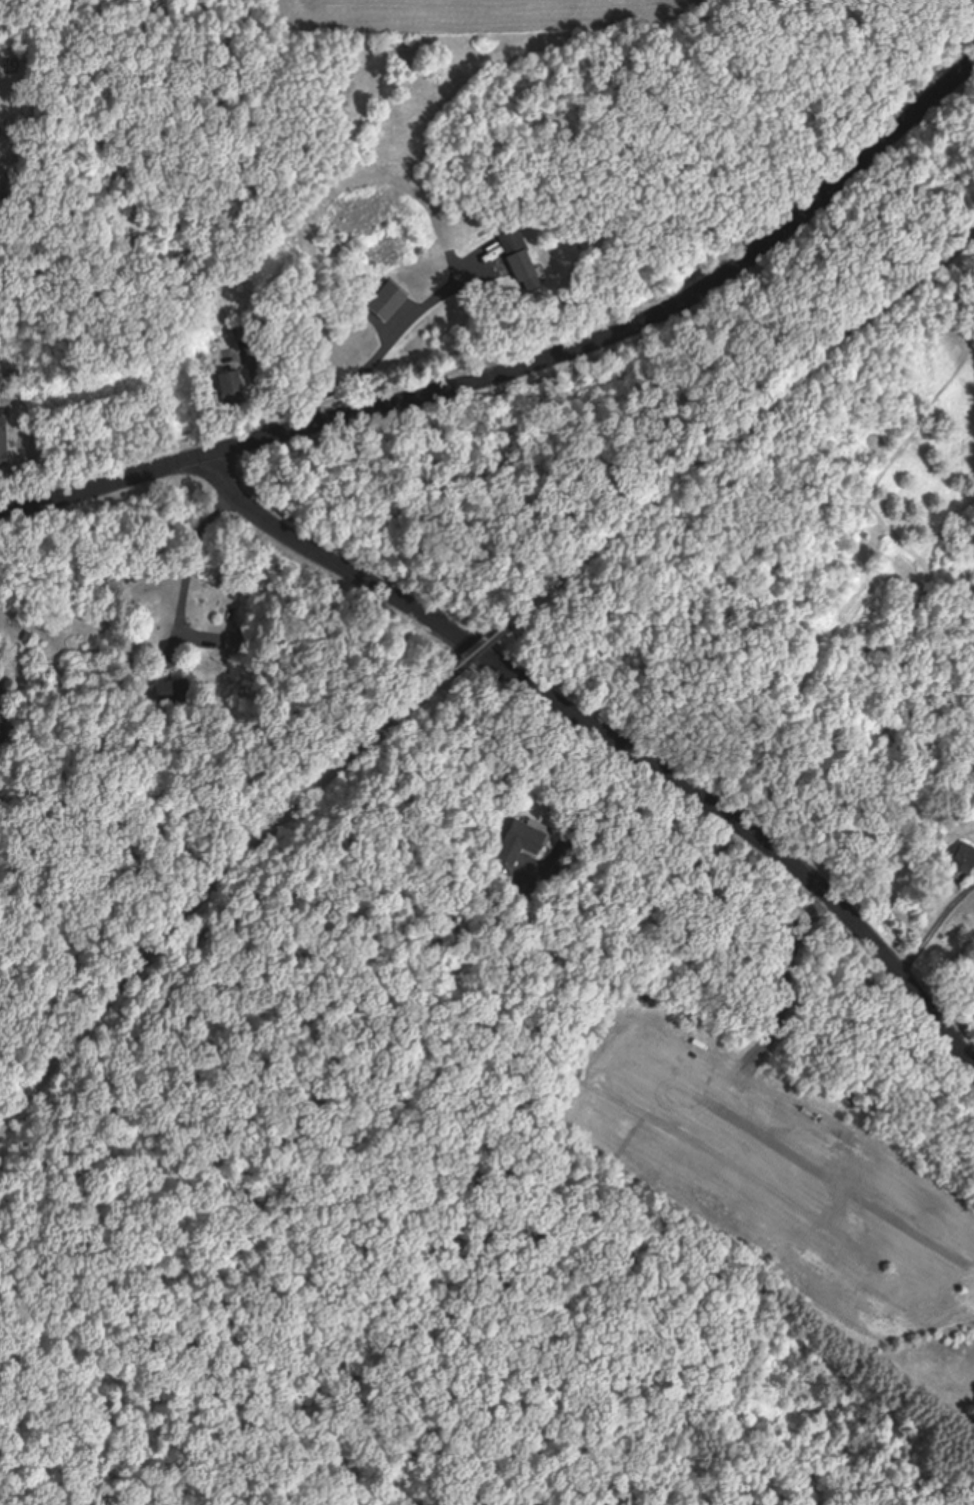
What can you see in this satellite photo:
crop: (514, 1)
building: (514, 257)
building: (384, 301)
road: (526, 360)
building: (226, 389)
road: (740, 428)
building: (2, 442)
building: (237, 643)
road: (475, 651)
building: (172, 692)
building: (0, 734)
road: (610, 736)
building: (515, 842)
building: (961, 859)
road: (215, 900)
road: (136, 1331)
road: (6, 1469)

